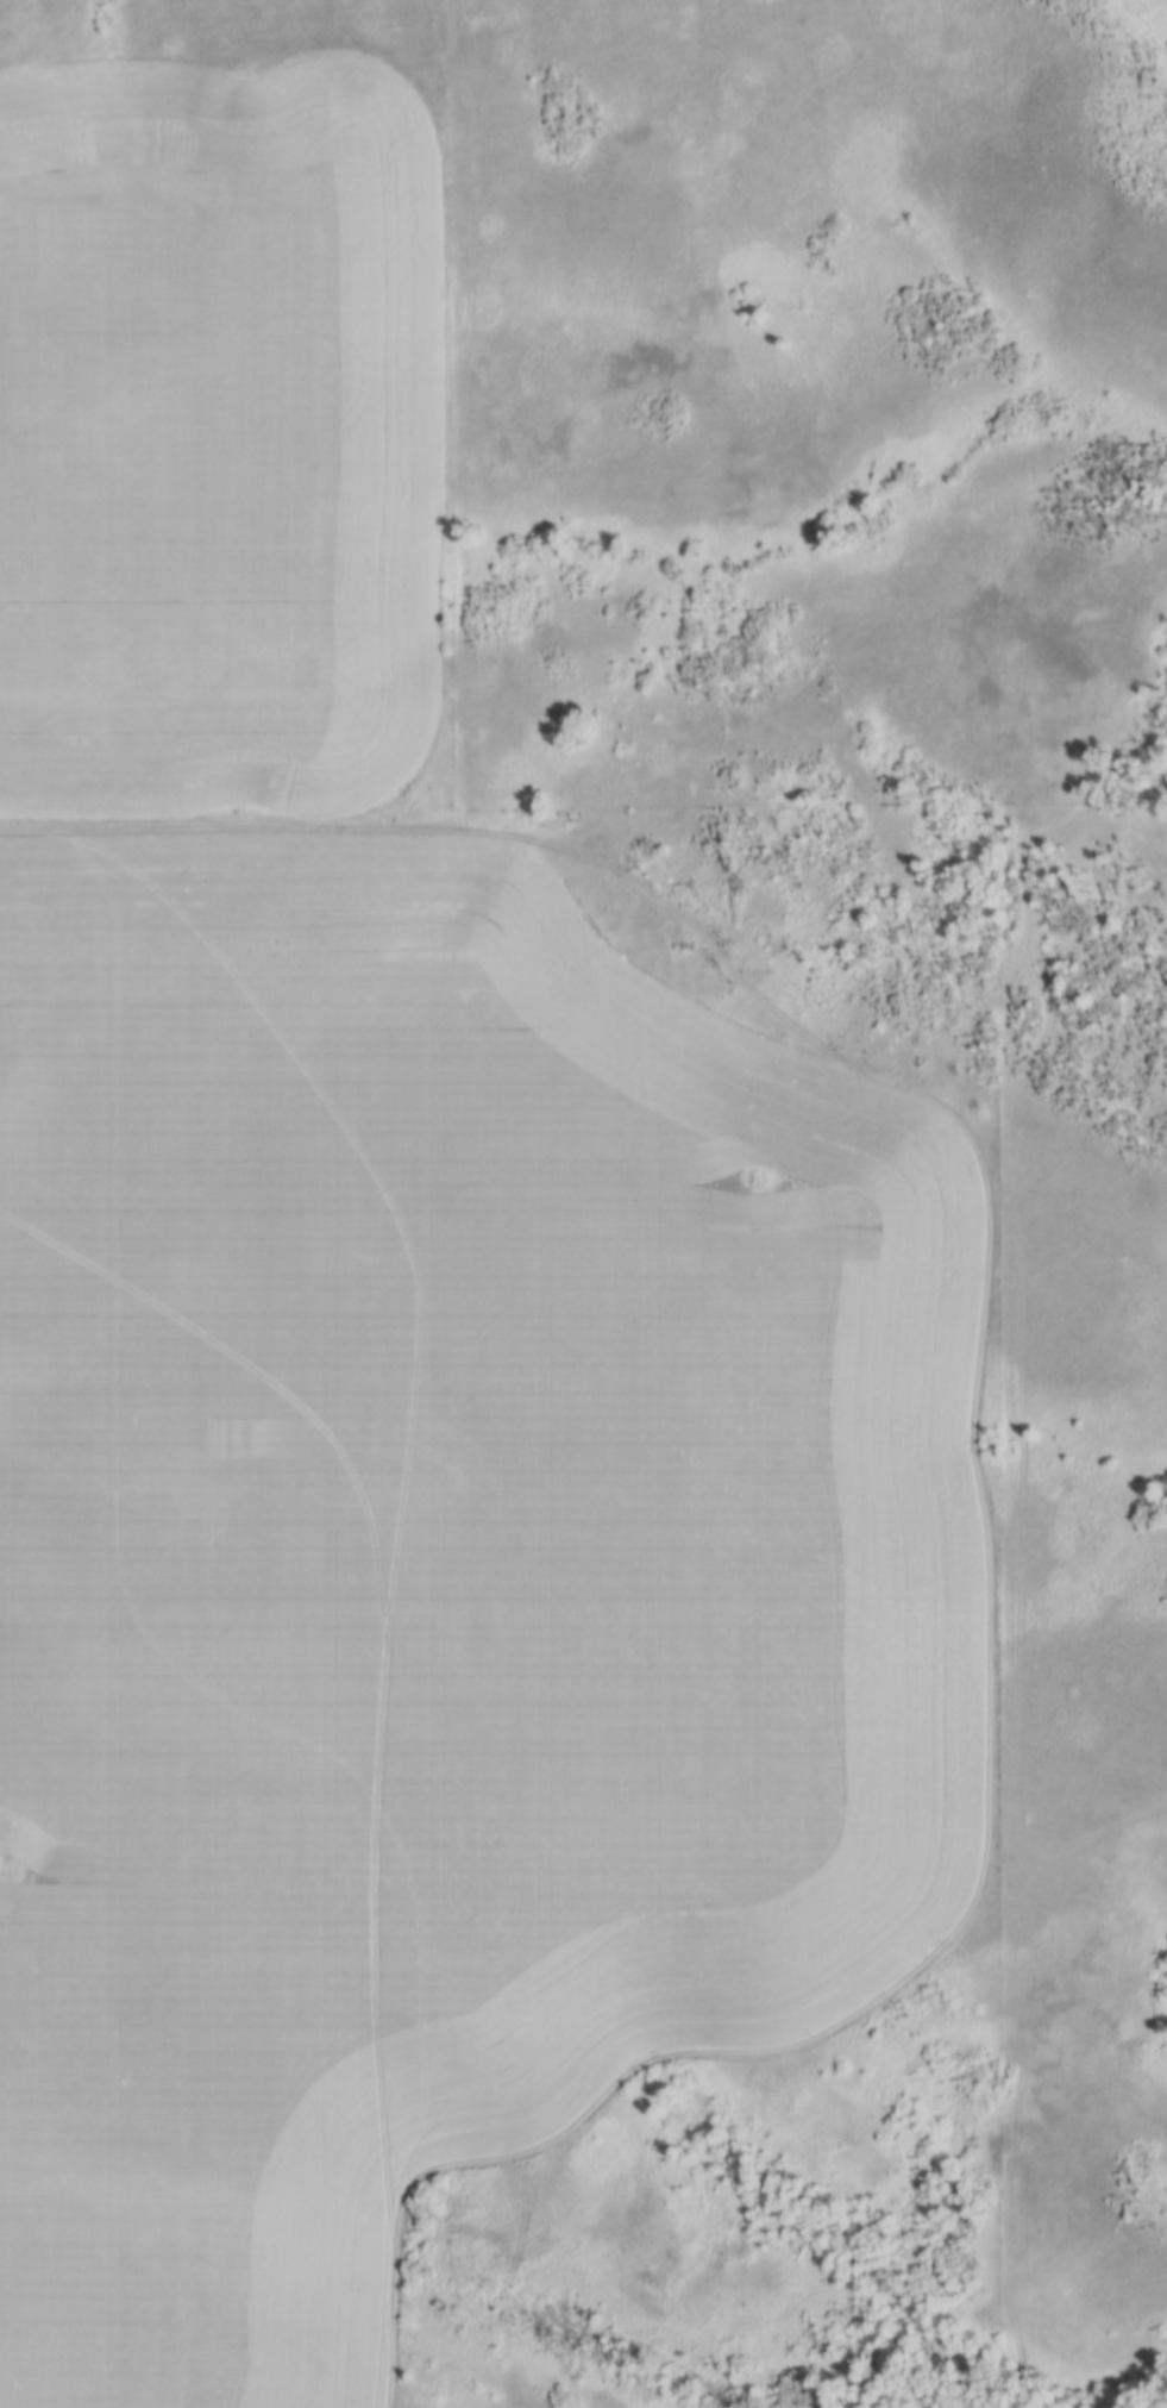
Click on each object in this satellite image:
road: (902, 1094)

